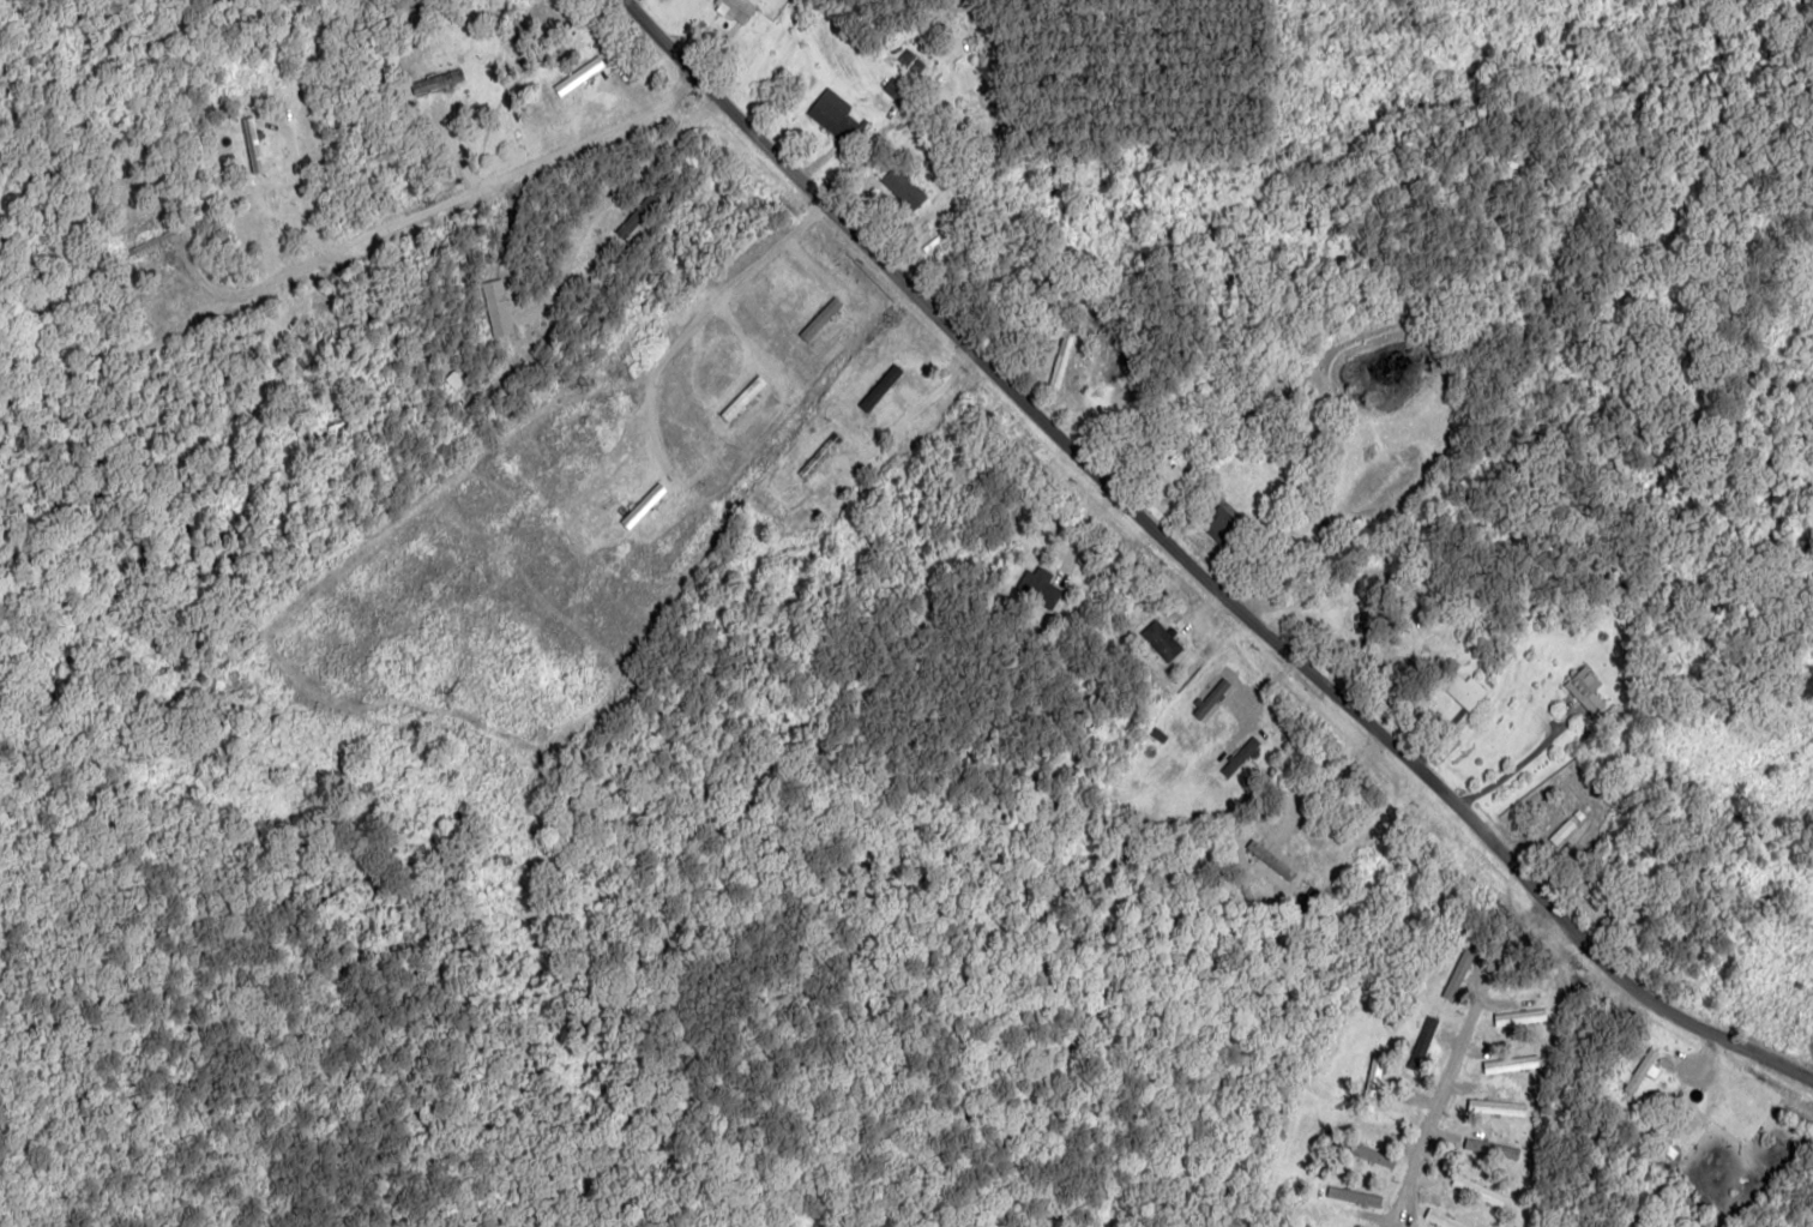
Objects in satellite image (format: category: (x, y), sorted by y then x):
building: (736, 7)
building: (910, 60)
road: (55, 64)
building: (578, 76)
building: (436, 80)
building: (895, 89)
building: (832, 114)
building: (251, 144)
building: (899, 186)
building: (495, 308)
building: (1067, 363)
building: (879, 387)
building: (824, 451)
building: (1164, 476)
building: (1218, 522)
building: (1040, 588)
road: (1176, 593)
building: (1161, 639)
building: (1584, 687)
building: (1464, 688)
building: (1210, 699)
building: (1240, 756)
building: (1457, 973)
building: (1519, 1016)
building: (1510, 1064)
building: (1640, 1070)
building: (1372, 1082)
building: (1496, 1106)
building: (1490, 1148)
building: (1477, 1190)
building: (1354, 1196)

